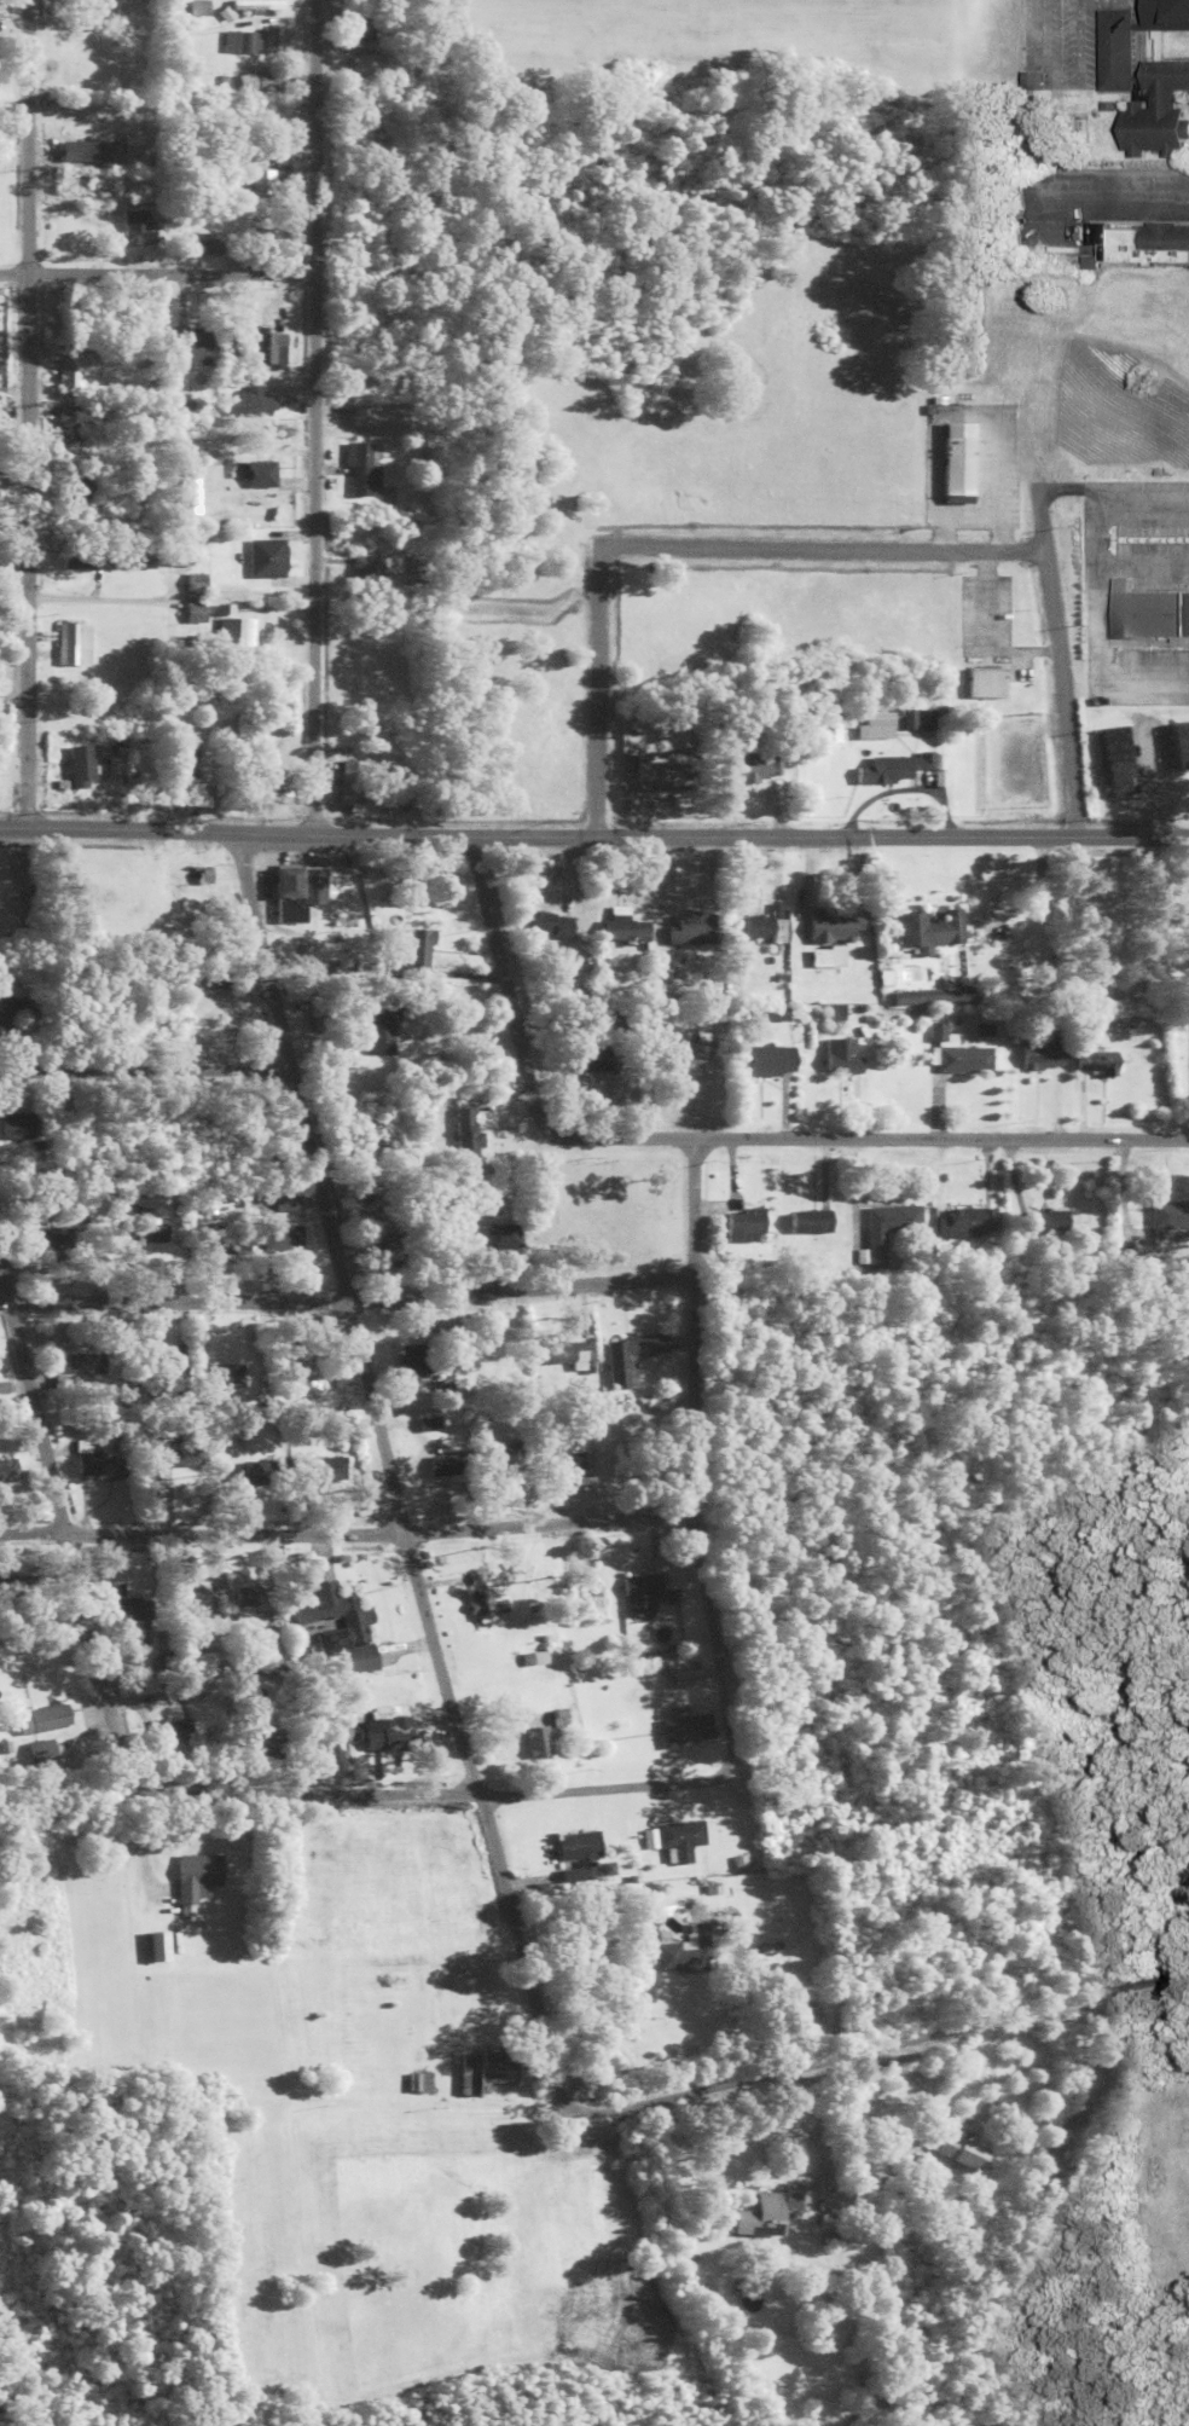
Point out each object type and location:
road: (156, 267)
road: (25, 409)
road: (311, 412)
road: (681, 546)
road: (1045, 589)
road: (167, 609)
road: (593, 828)
road: (500, 983)
road: (144, 1064)
road: (870, 1135)
road: (5, 1278)
road: (344, 1298)
road: (688, 1459)
road: (385, 1460)
road: (343, 1527)
road: (66, 1539)
road: (414, 1789)
road: (872, 2040)

